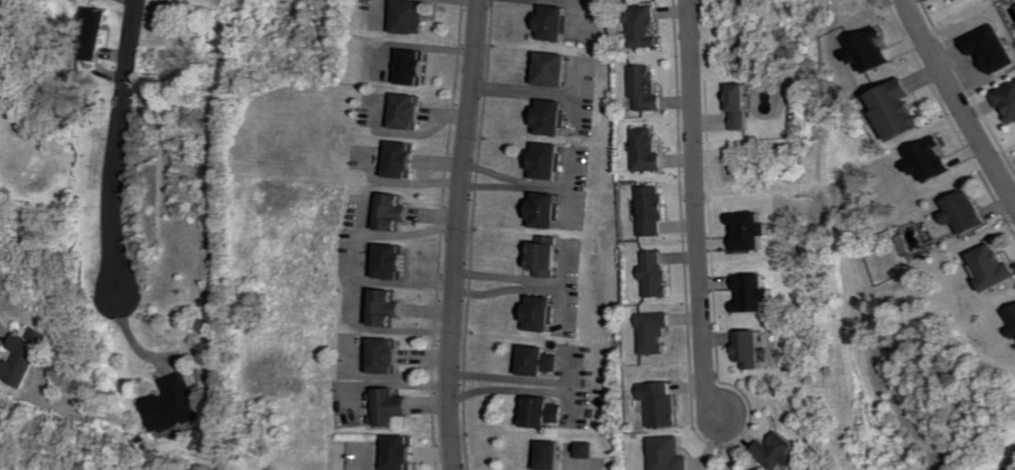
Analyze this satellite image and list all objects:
road: (575, 0)
building: (411, 16)
building: (554, 22)
building: (645, 26)
building: (98, 33)
building: (875, 50)
building: (414, 66)
building: (552, 68)
building: (646, 87)
building: (1007, 99)
road: (959, 102)
building: (745, 105)
building: (901, 109)
building: (409, 111)
building: (552, 116)
road: (119, 144)
building: (647, 149)
building: (405, 159)
building: (547, 160)
building: (935, 160)
road: (515, 179)
road: (492, 183)
road: (568, 185)
road: (698, 207)
building: (652, 209)
building: (396, 210)
building: (546, 210)
building: (969, 212)
road: (436, 215)
building: (755, 230)
road: (412, 233)
road: (458, 235)
building: (544, 255)
building: (395, 260)
building: (994, 267)
building: (656, 275)
road: (407, 283)
building: (758, 293)
road: (358, 306)
building: (388, 307)
road: (429, 311)
building: (1013, 312)
building: (540, 313)
building: (655, 332)
road: (134, 336)
building: (753, 348)
building: (387, 355)
building: (28, 357)
building: (538, 360)
road: (388, 376)
road: (387, 383)
building: (662, 403)
building: (172, 405)
road: (432, 405)
building: (392, 406)
building: (544, 412)
building: (588, 449)
building: (782, 451)
building: (403, 452)
road: (436, 453)
building: (669, 454)
building: (555, 455)
road: (363, 457)

